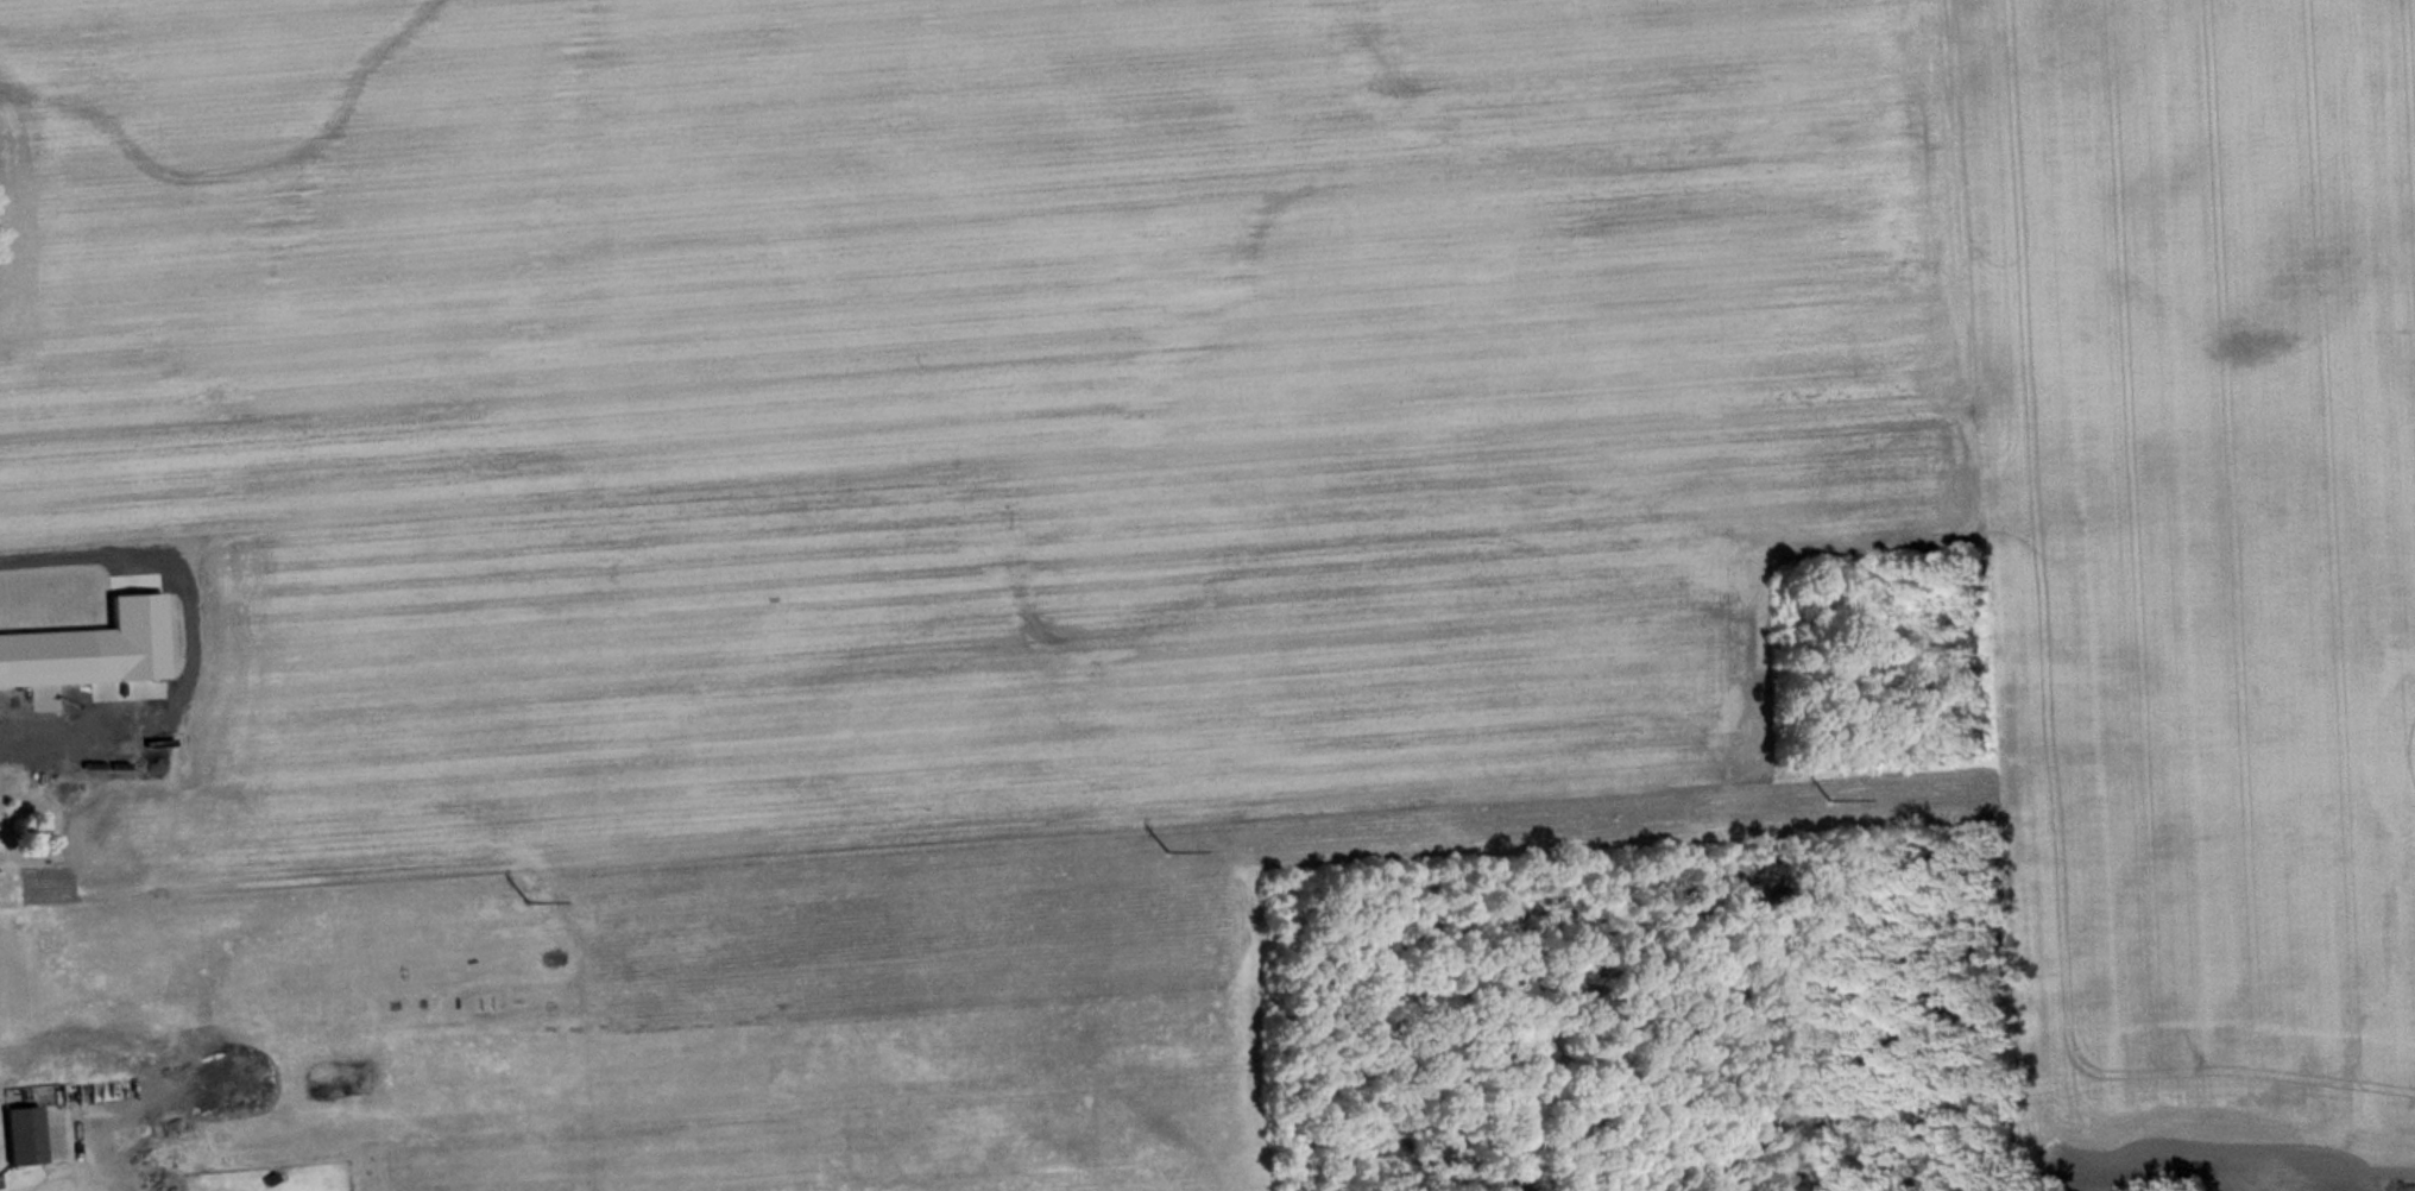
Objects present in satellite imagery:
road: (190, 632)
building: (44, 662)
power tower: (1834, 801)
power tower: (1169, 855)
power tower: (530, 905)
building: (23, 1139)

